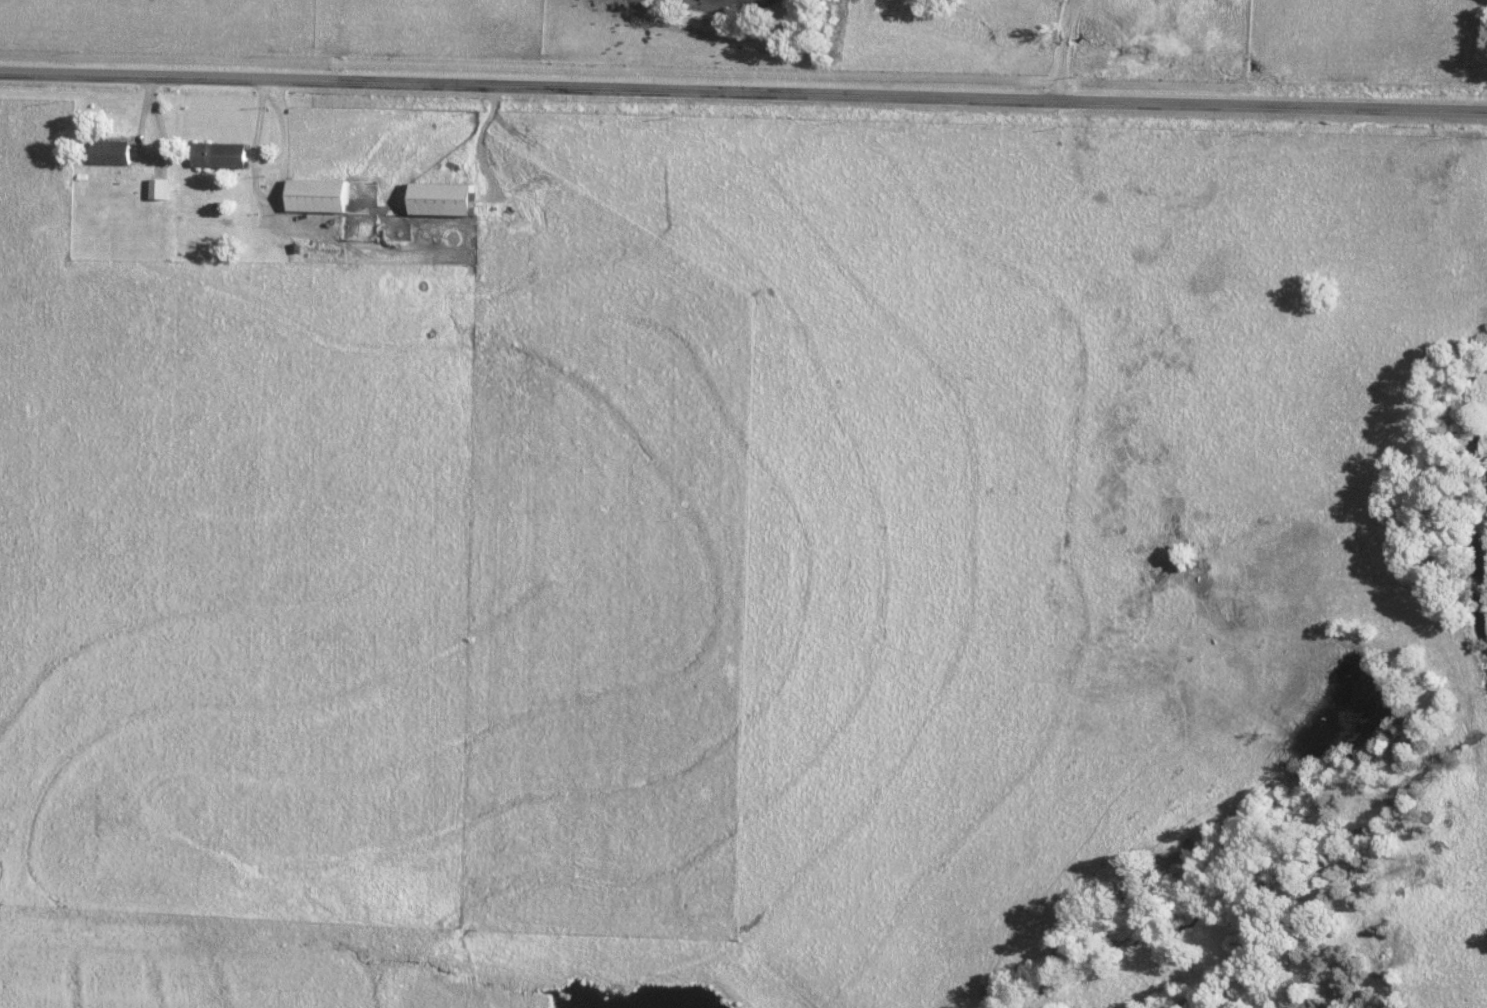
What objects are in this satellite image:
road: (1073, 50)
road: (743, 94)
road: (482, 146)
building: (115, 151)
building: (223, 154)
road: (273, 168)
building: (161, 188)
building: (321, 195)
building: (450, 198)

